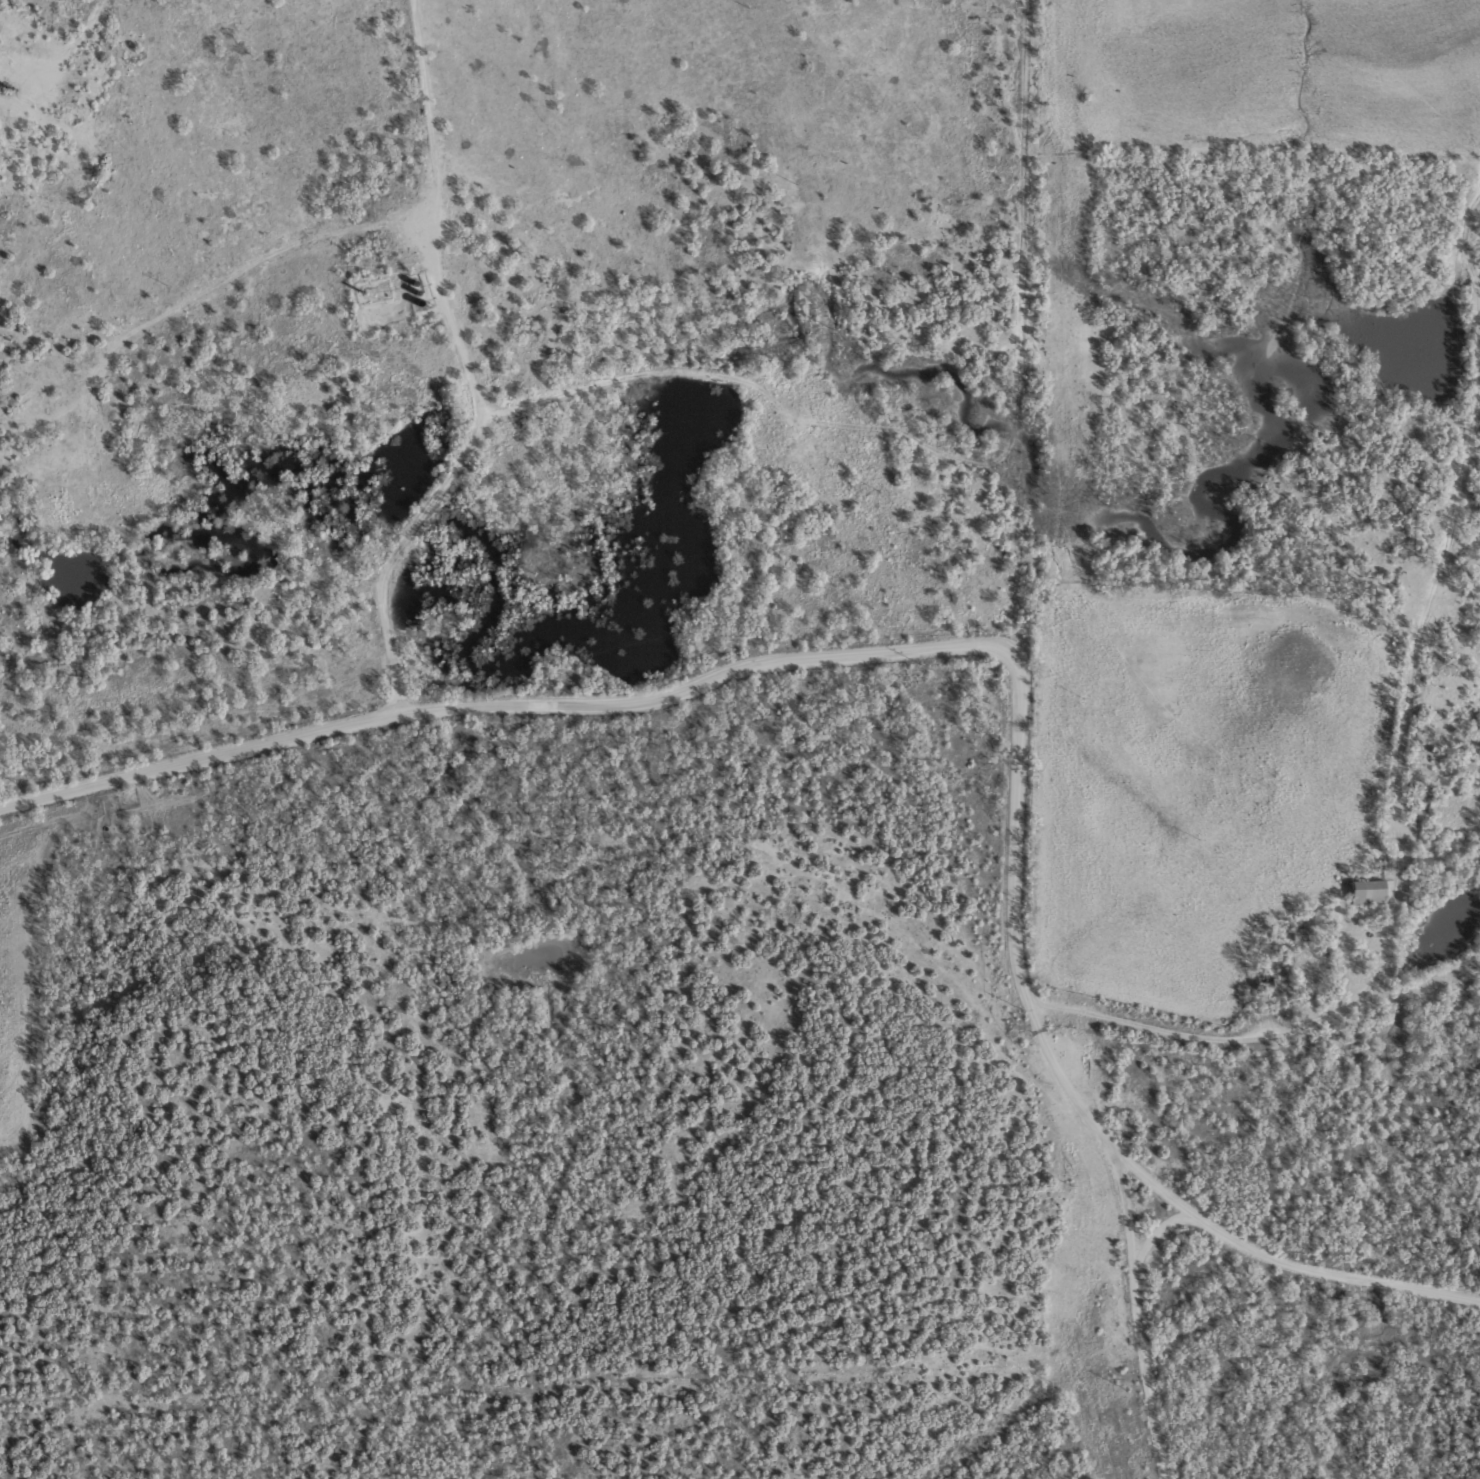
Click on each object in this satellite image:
petroleum well: (4, 85)
road: (1232, 196)
road: (693, 689)
road: (1428, 697)
building: (1371, 890)
road: (1261, 1036)
road: (1200, 1262)

